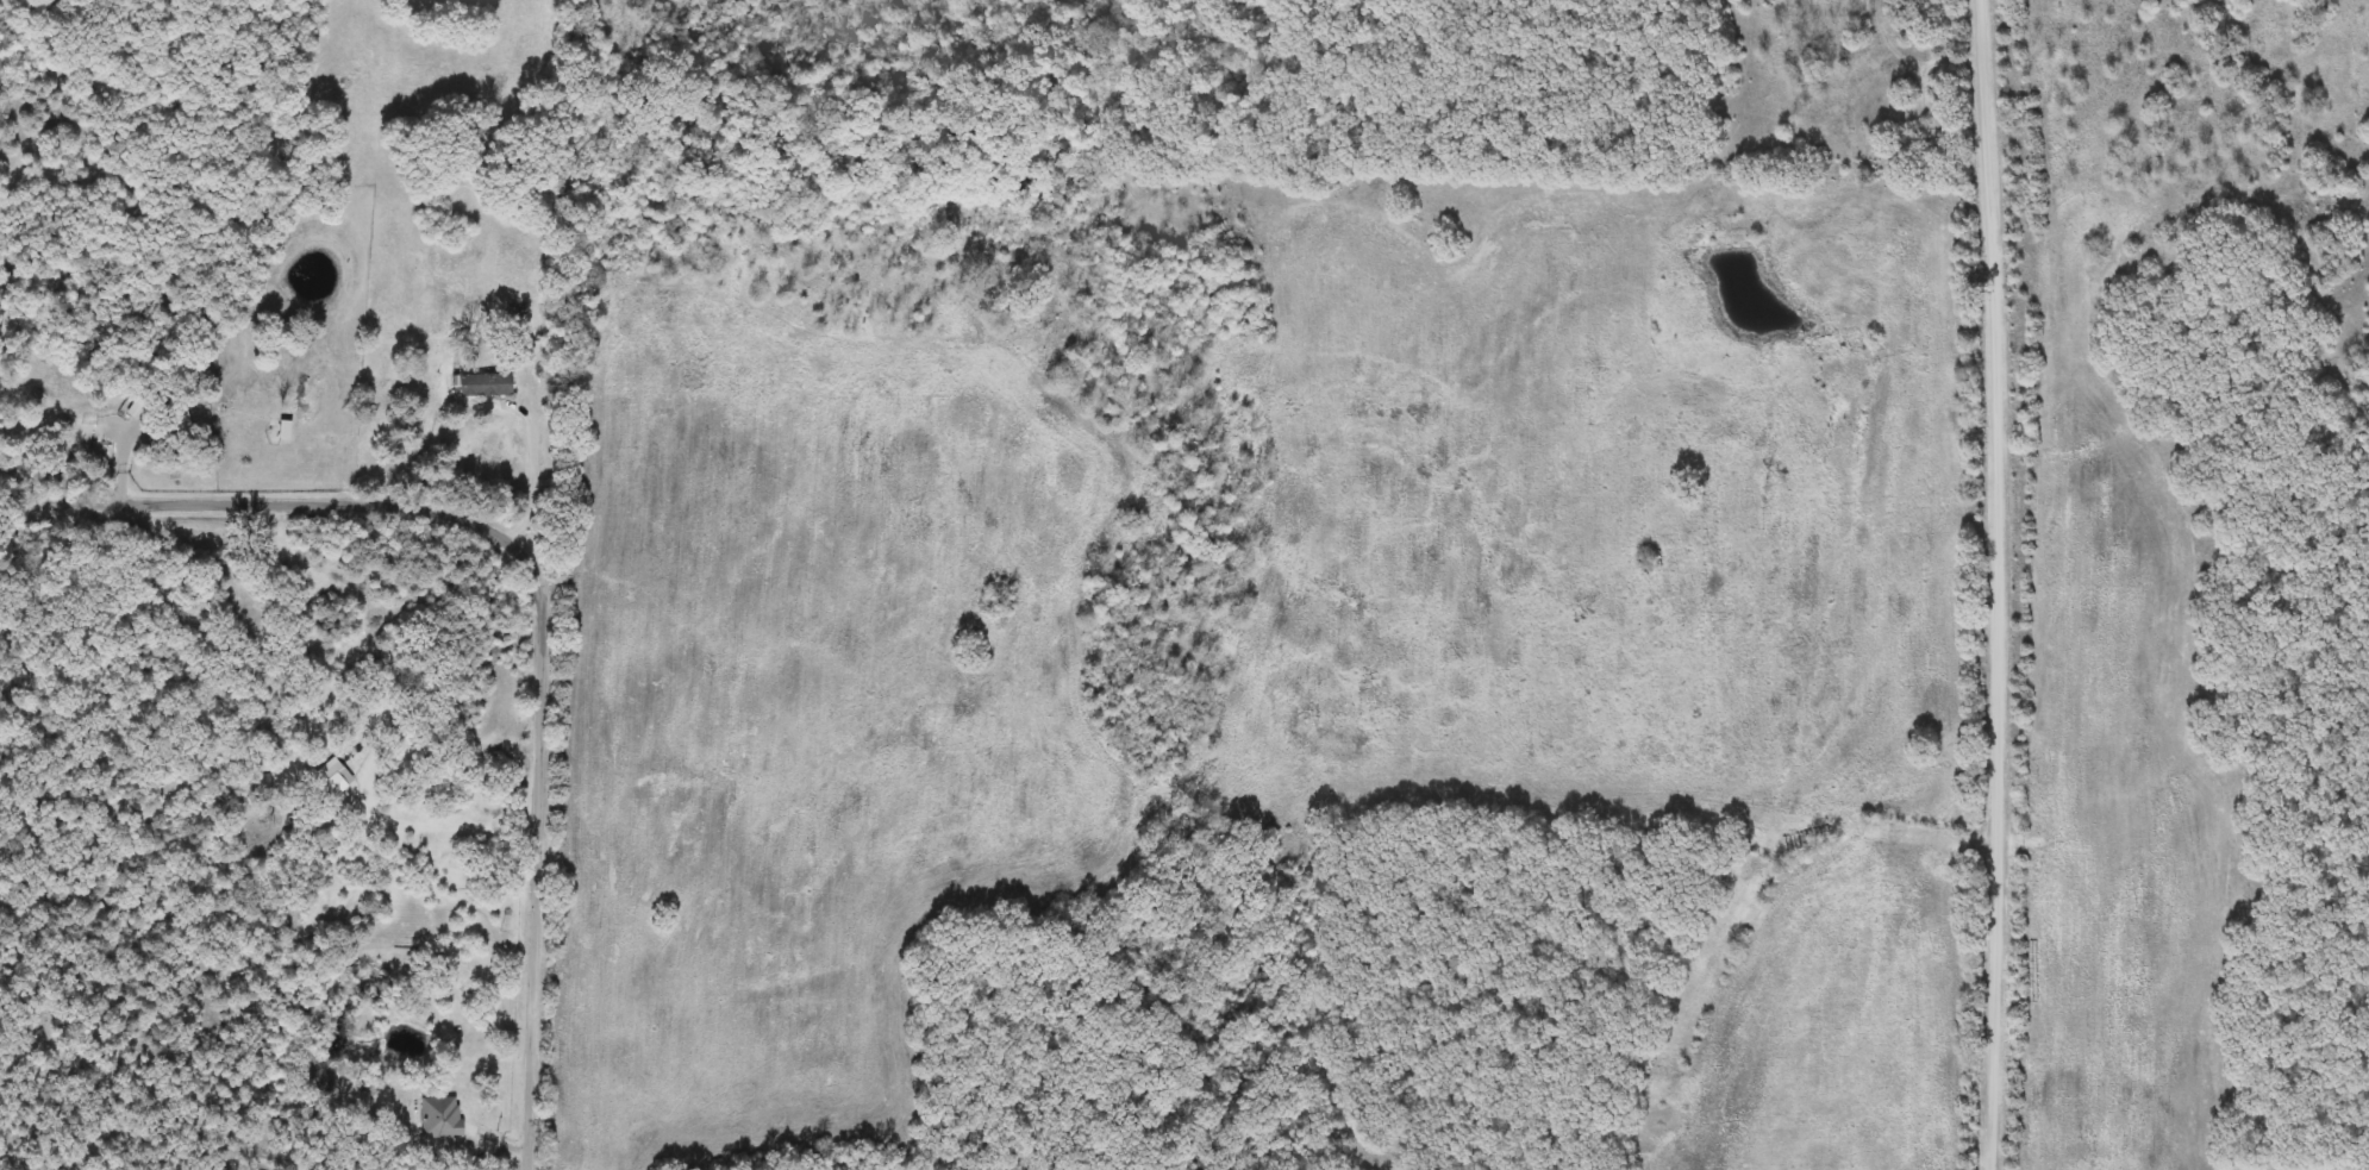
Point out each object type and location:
building: (485, 386)
building: (174, 423)
road: (540, 475)
road: (2000, 584)
road: (542, 589)
building: (448, 972)
building: (442, 1118)

